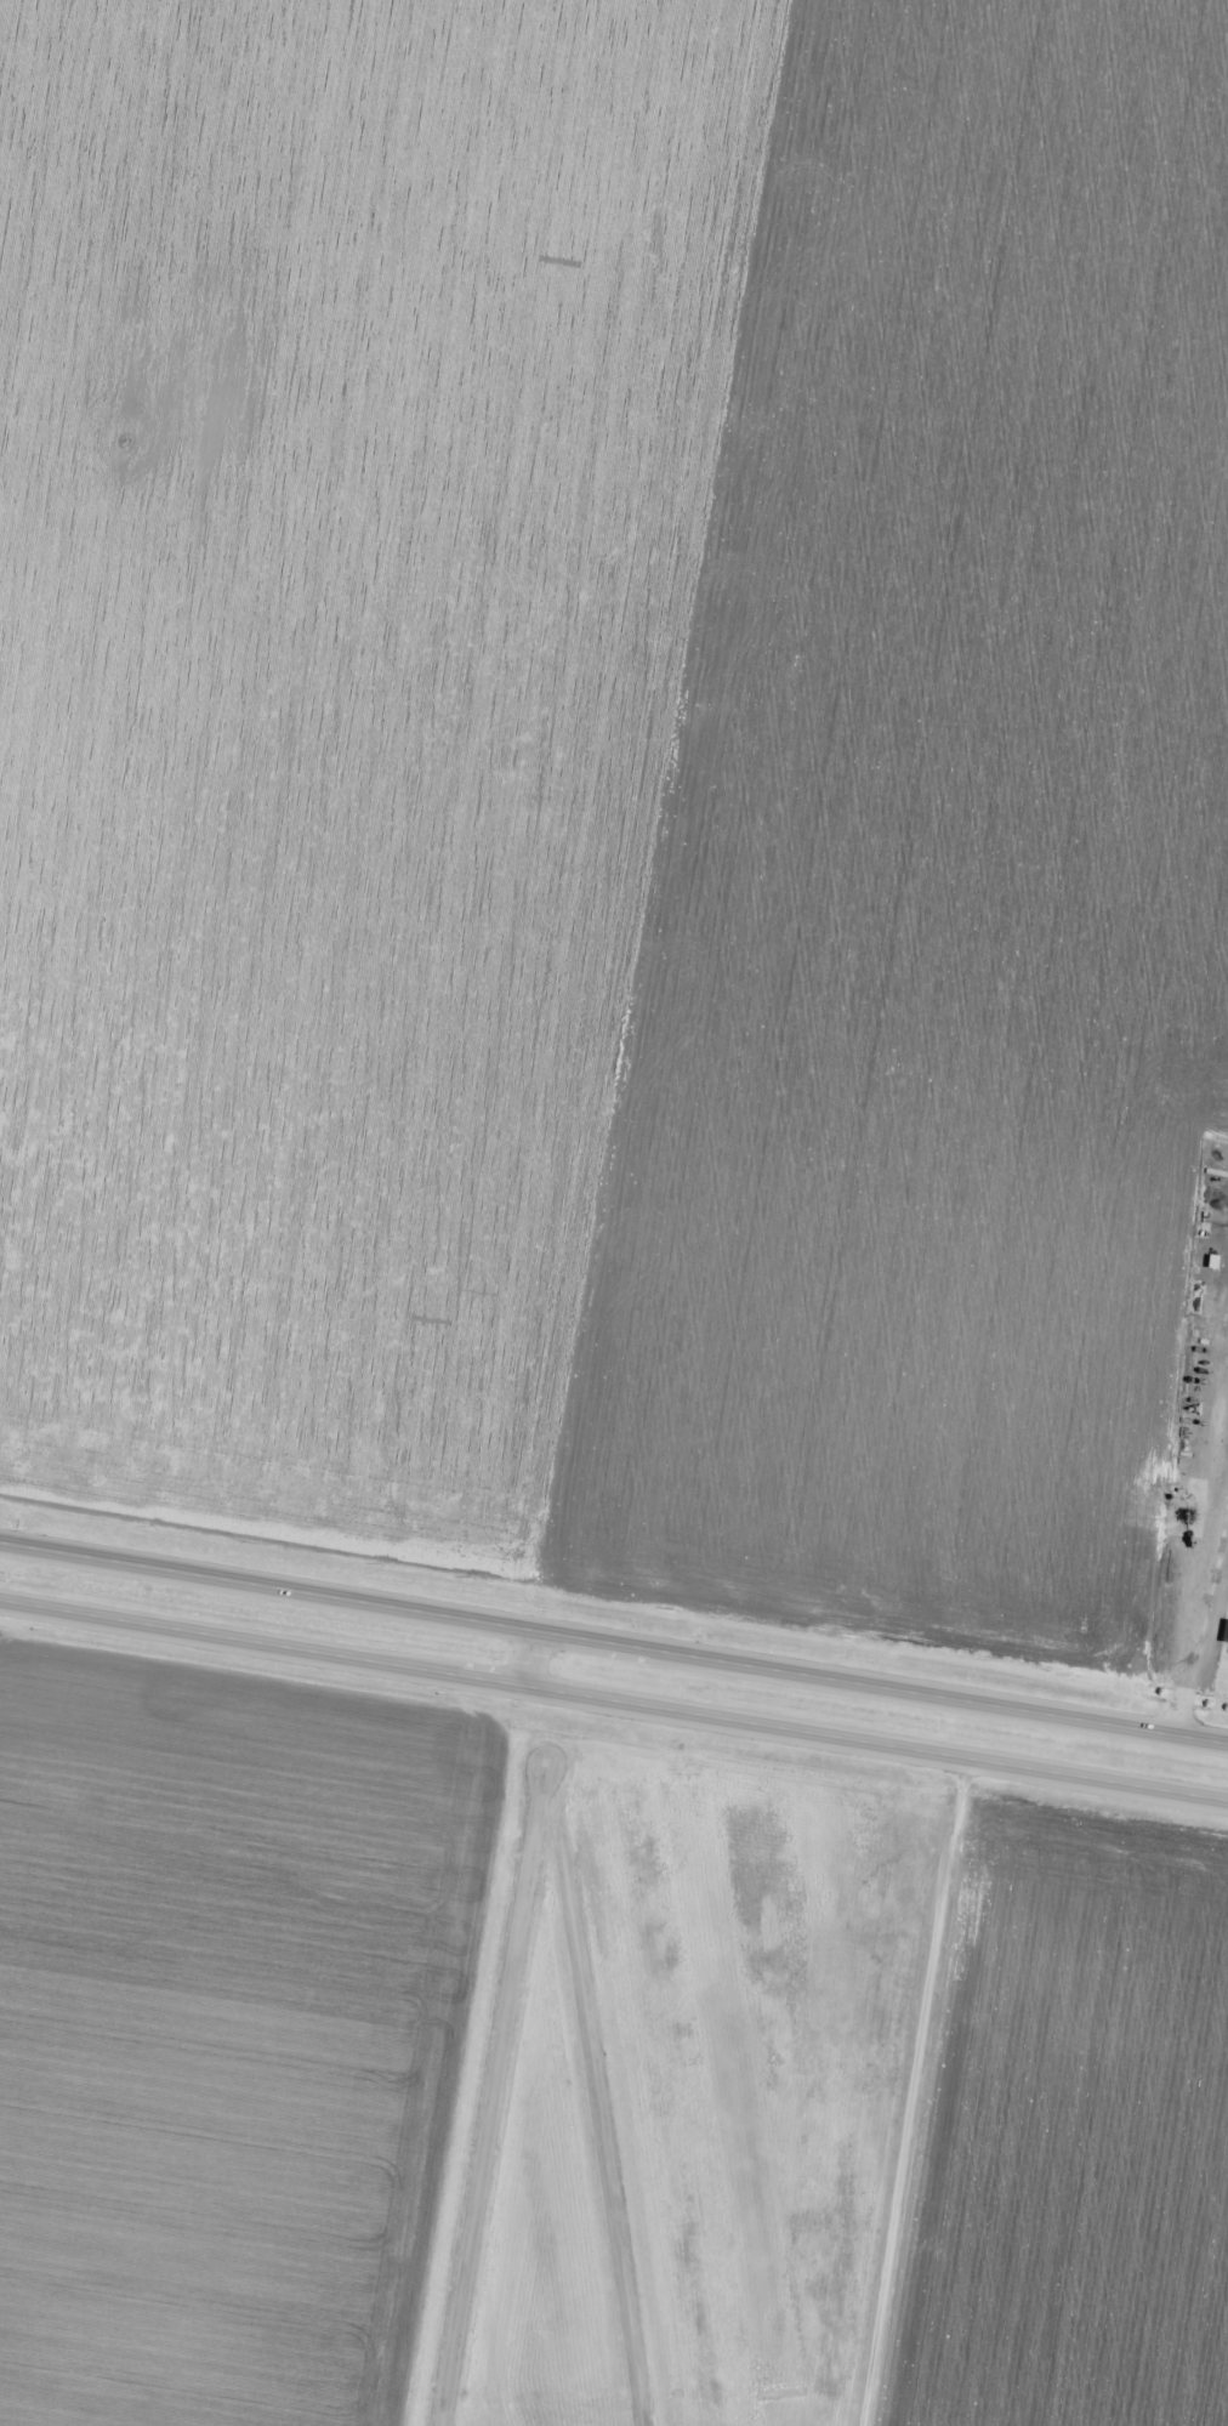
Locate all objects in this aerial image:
building: (1226, 1632)
road: (613, 1643)
road: (529, 1658)
road: (614, 1700)

